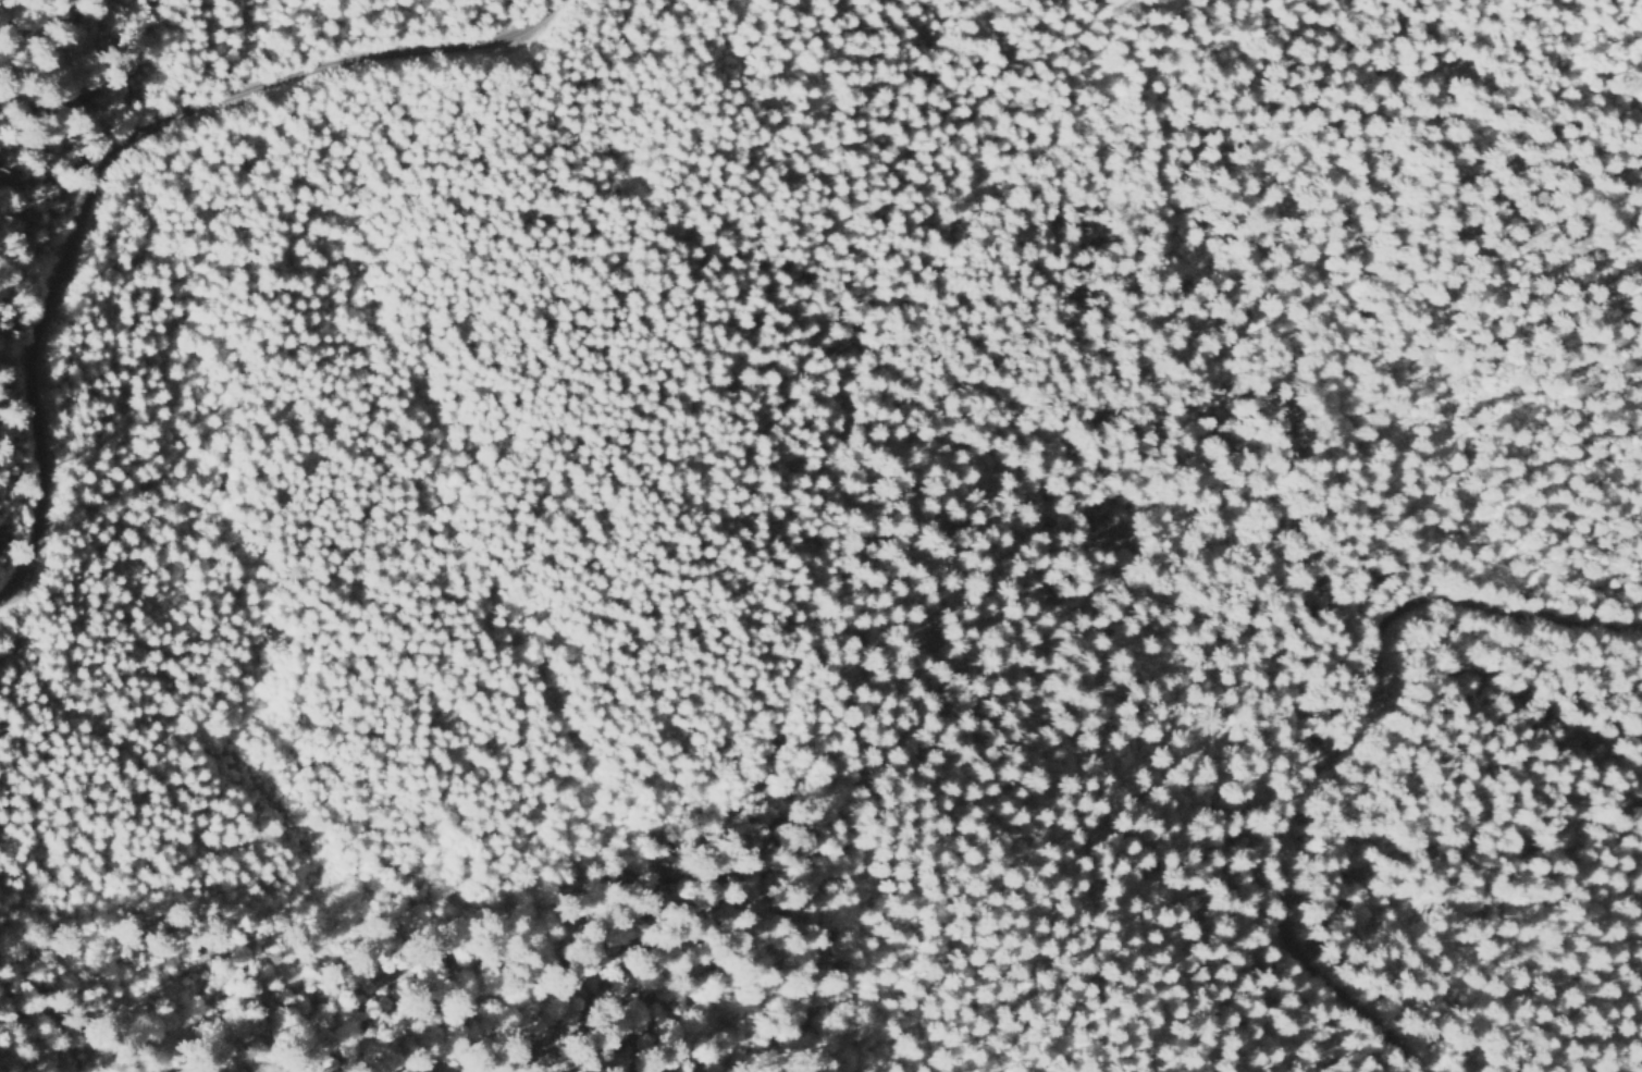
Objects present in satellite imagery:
road: (121, 160)
road: (1373, 747)

